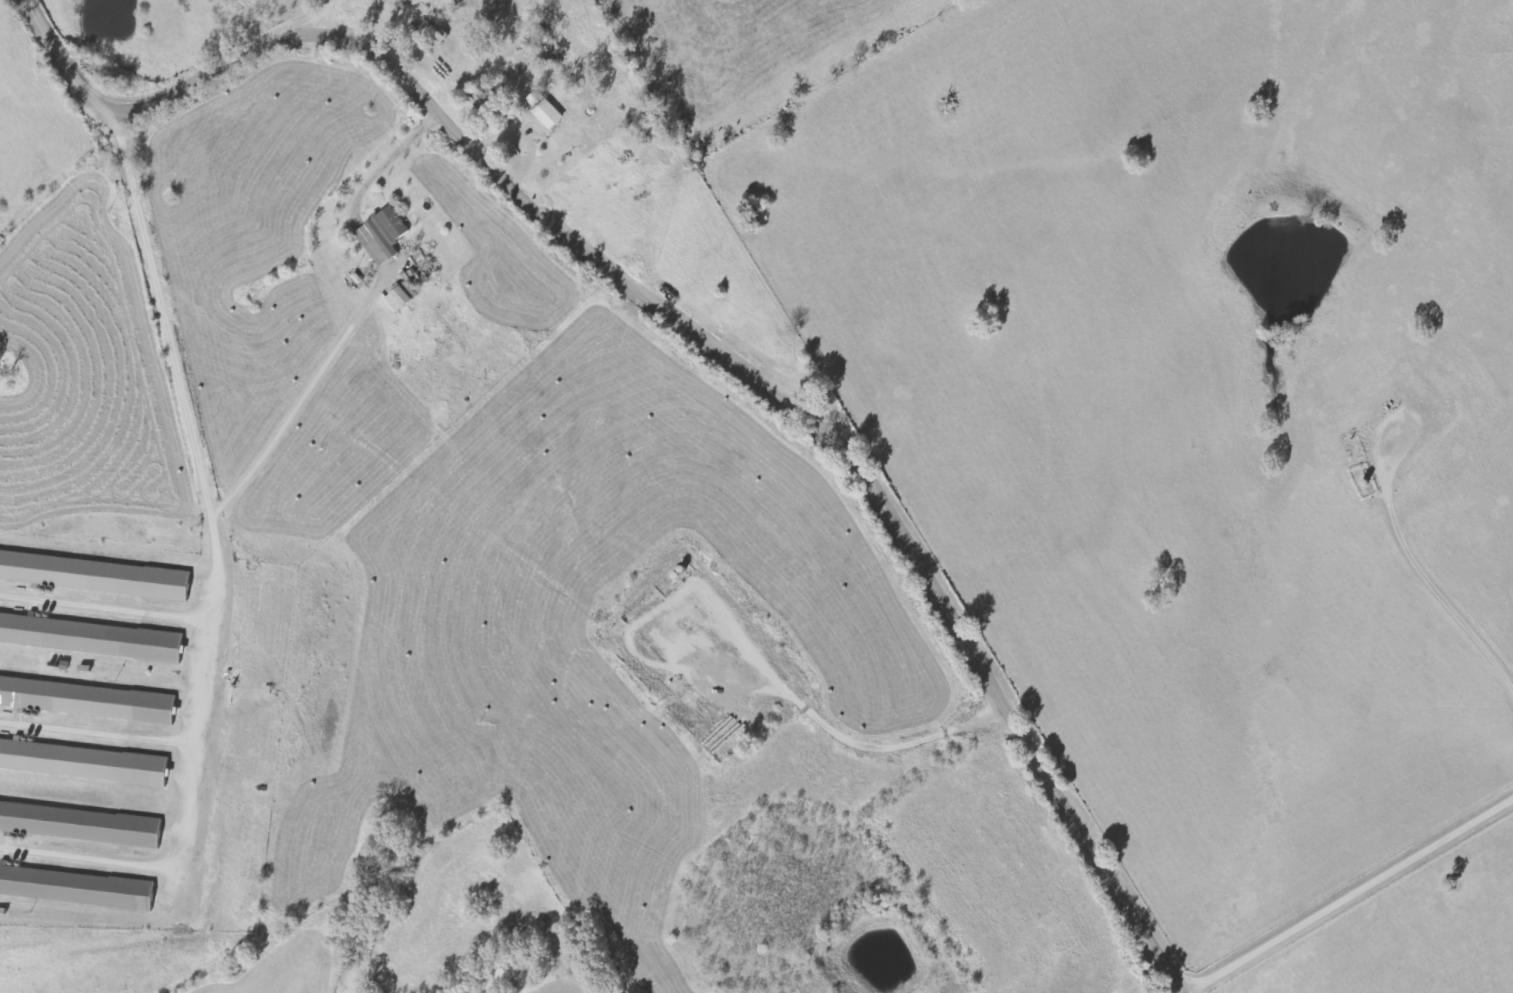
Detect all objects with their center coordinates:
building: (546, 111)
dam: (1283, 203)
building: (384, 236)
building: (404, 298)
road: (685, 325)
building: (95, 576)
building: (91, 638)
building: (89, 701)
building: (84, 763)
building: (81, 824)
building: (77, 887)
road: (1349, 896)

